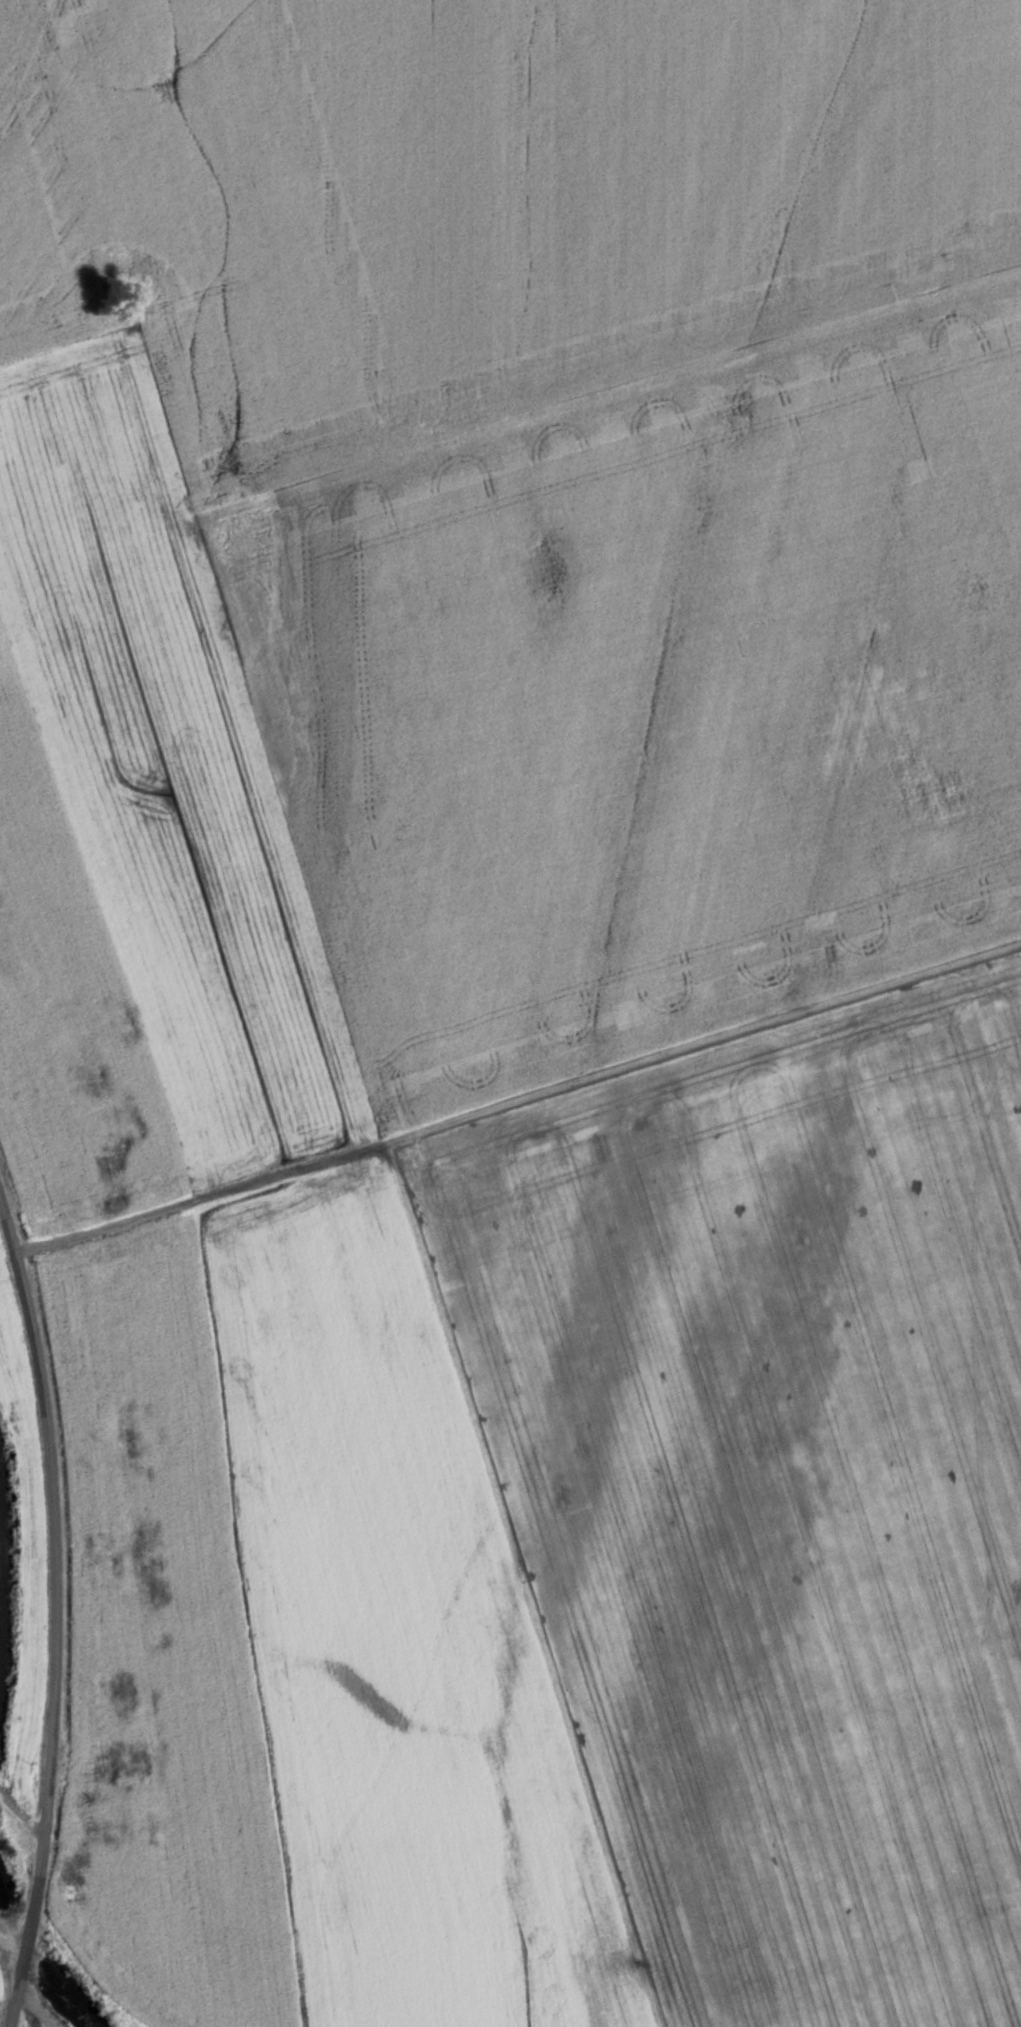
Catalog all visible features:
road: (517, 1098)
road: (521, 1583)
road: (53, 1614)
road: (19, 1812)

